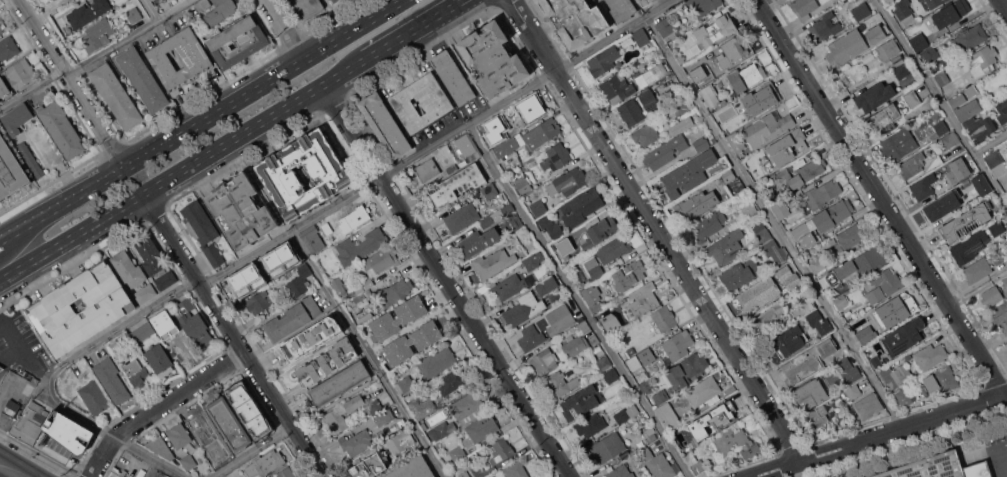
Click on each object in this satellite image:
building: (920, 0)
building: (335, 1)
building: (645, 2)
building: (935, 2)
building: (159, 3)
building: (202, 4)
road: (1004, 4)
building: (703, 5)
building: (309, 6)
building: (804, 8)
building: (622, 9)
road: (153, 10)
building: (220, 11)
building: (862, 11)
building: (903, 11)
building: (88, 12)
building: (951, 12)
building: (134, 15)
building: (576, 19)
road: (393, 25)
building: (718, 26)
building: (825, 26)
building: (668, 29)
building: (1, 30)
road: (289, 30)
road: (417, 30)
building: (876, 33)
building: (97, 35)
building: (641, 37)
building: (970, 37)
building: (238, 40)
building: (919, 42)
building: (846, 47)
building: (8, 48)
building: (733, 49)
building: (682, 53)
building: (930, 53)
road: (97, 57)
building: (867, 57)
building: (195, 58)
building: (494, 58)
building: (888, 58)
building: (603, 60)
building: (982, 60)
building: (903, 69)
building: (21, 72)
building: (651, 75)
building: (747, 76)
building: (453, 77)
building: (698, 77)
building: (942, 77)
building: (143, 79)
road: (76, 82)
road: (268, 83)
building: (3, 87)
building: (617, 88)
building: (971, 90)
building: (116, 95)
building: (711, 96)
building: (762, 96)
building: (874, 96)
building: (912, 98)
building: (957, 99)
building: (421, 102)
road: (941, 103)
building: (534, 106)
building: (639, 107)
building: (678, 107)
building: (968, 109)
building: (727, 110)
building: (1002, 111)
building: (16, 119)
building: (884, 119)
building: (384, 124)
building: (493, 126)
road: (256, 127)
building: (767, 127)
building: (979, 128)
building: (62, 129)
building: (939, 129)
building: (646, 134)
building: (529, 138)
building: (949, 139)
building: (498, 140)
building: (737, 142)
building: (701, 143)
road: (990, 143)
building: (898, 144)
building: (785, 147)
building: (464, 149)
building: (665, 151)
building: (556, 157)
building: (31, 158)
building: (52, 161)
building: (996, 162)
building: (912, 165)
building: (509, 167)
building: (427, 170)
building: (10, 171)
building: (803, 172)
building: (688, 173)
building: (758, 174)
building: (955, 176)
building: (332, 177)
building: (731, 181)
building: (567, 182)
building: (523, 184)
building: (981, 184)
building: (457, 185)
building: (922, 188)
building: (490, 190)
road: (355, 191)
building: (822, 194)
road: (880, 196)
building: (561, 199)
building: (943, 204)
road: (64, 205)
building: (696, 205)
building: (538, 207)
building: (581, 207)
building: (750, 208)
building: (780, 209)
building: (242, 210)
building: (833, 214)
building: (354, 217)
building: (462, 217)
building: (740, 217)
building: (967, 221)
building: (514, 222)
road: (774, 222)
building: (709, 223)
building: (551, 226)
building: (996, 227)
building: (328, 229)
building: (602, 229)
road: (658, 229)
building: (203, 230)
building: (1006, 230)
building: (761, 235)
building: (802, 236)
road: (73, 238)
building: (312, 239)
building: (849, 239)
building: (478, 242)
building: (566, 243)
building: (1006, 245)
building: (361, 246)
building: (969, 246)
building: (727, 247)
building: (613, 249)
building: (775, 251)
building: (150, 255)
building: (998, 256)
building: (534, 260)
building: (377, 261)
building: (494, 262)
building: (817, 264)
building: (857, 266)
building: (594, 267)
building: (129, 268)
building: (977, 269)
building: (250, 272)
building: (630, 273)
building: (740, 274)
building: (789, 277)
building: (166, 280)
road: (446, 281)
building: (300, 282)
building: (338, 285)
building: (511, 285)
building: (884, 285)
building: (362, 287)
building: (543, 287)
building: (395, 292)
building: (145, 293)
building: (758, 294)
building: (992, 295)
building: (593, 298)
building: (362, 300)
road: (578, 300)
building: (642, 301)
building: (257, 302)
building: (838, 302)
building: (110, 308)
building: (804, 308)
building: (897, 309)
building: (518, 312)
building: (1000, 316)
building: (398, 317)
building: (293, 318)
building: (559, 319)
building: (169, 320)
building: (662, 320)
building: (770, 320)
building: (608, 321)
building: (820, 322)
building: (194, 323)
building: (326, 323)
building: (584, 326)
building: (141, 332)
building: (865, 334)
road: (236, 335)
building: (904, 336)
building: (530, 338)
road: (6, 341)
building: (413, 342)
building: (788, 343)
building: (575, 344)
building: (678, 344)
building: (114, 347)
building: (180, 349)
building: (294, 349)
road: (367, 354)
building: (930, 355)
building: (906, 356)
building: (641, 359)
building: (160, 360)
building: (327, 361)
building: (544, 361)
building: (804, 361)
building: (876, 361)
building: (437, 362)
building: (604, 363)
building: (1, 368)
building: (688, 370)
building: (848, 370)
building: (137, 373)
building: (896, 375)
building: (611, 376)
building: (32, 378)
building: (941, 379)
building: (112, 380)
building: (451, 381)
building: (340, 383)
building: (406, 383)
building: (561, 383)
building: (648, 386)
building: (703, 390)
building: (853, 391)
building: (812, 392)
building: (904, 395)
building: (661, 396)
building: (94, 397)
building: (243, 401)
building: (581, 401)
road: (161, 406)
building: (374, 406)
building: (868, 406)
building: (11, 407)
building: (422, 407)
building: (466, 408)
building: (343, 413)
building: (620, 415)
building: (384, 416)
building: (668, 416)
building: (817, 416)
building: (717, 420)
building: (200, 422)
building: (402, 423)
building: (229, 424)
building: (592, 424)
building: (52, 428)
building: (480, 429)
building: (441, 430)
building: (261, 432)
building: (179, 435)
road: (877, 435)
road: (113, 437)
building: (683, 439)
building: (400, 441)
building: (357, 442)
building: (735, 443)
building: (161, 446)
building: (605, 447)
building: (501, 450)
road: (1001, 450)
road: (252, 451)
building: (211, 452)
building: (457, 452)
parking lot: (996, 453)
building: (188, 462)
building: (695, 462)
building: (265, 463)
building: (656, 463)
road: (999, 464)
building: (369, 466)
building: (939, 468)
road: (11, 469)
building: (413, 469)
building: (515, 469)
building: (621, 471)
building: (287, 472)
building: (119, 473)
building: (464, 474)
road: (23, 476)
building: (494, 476)

